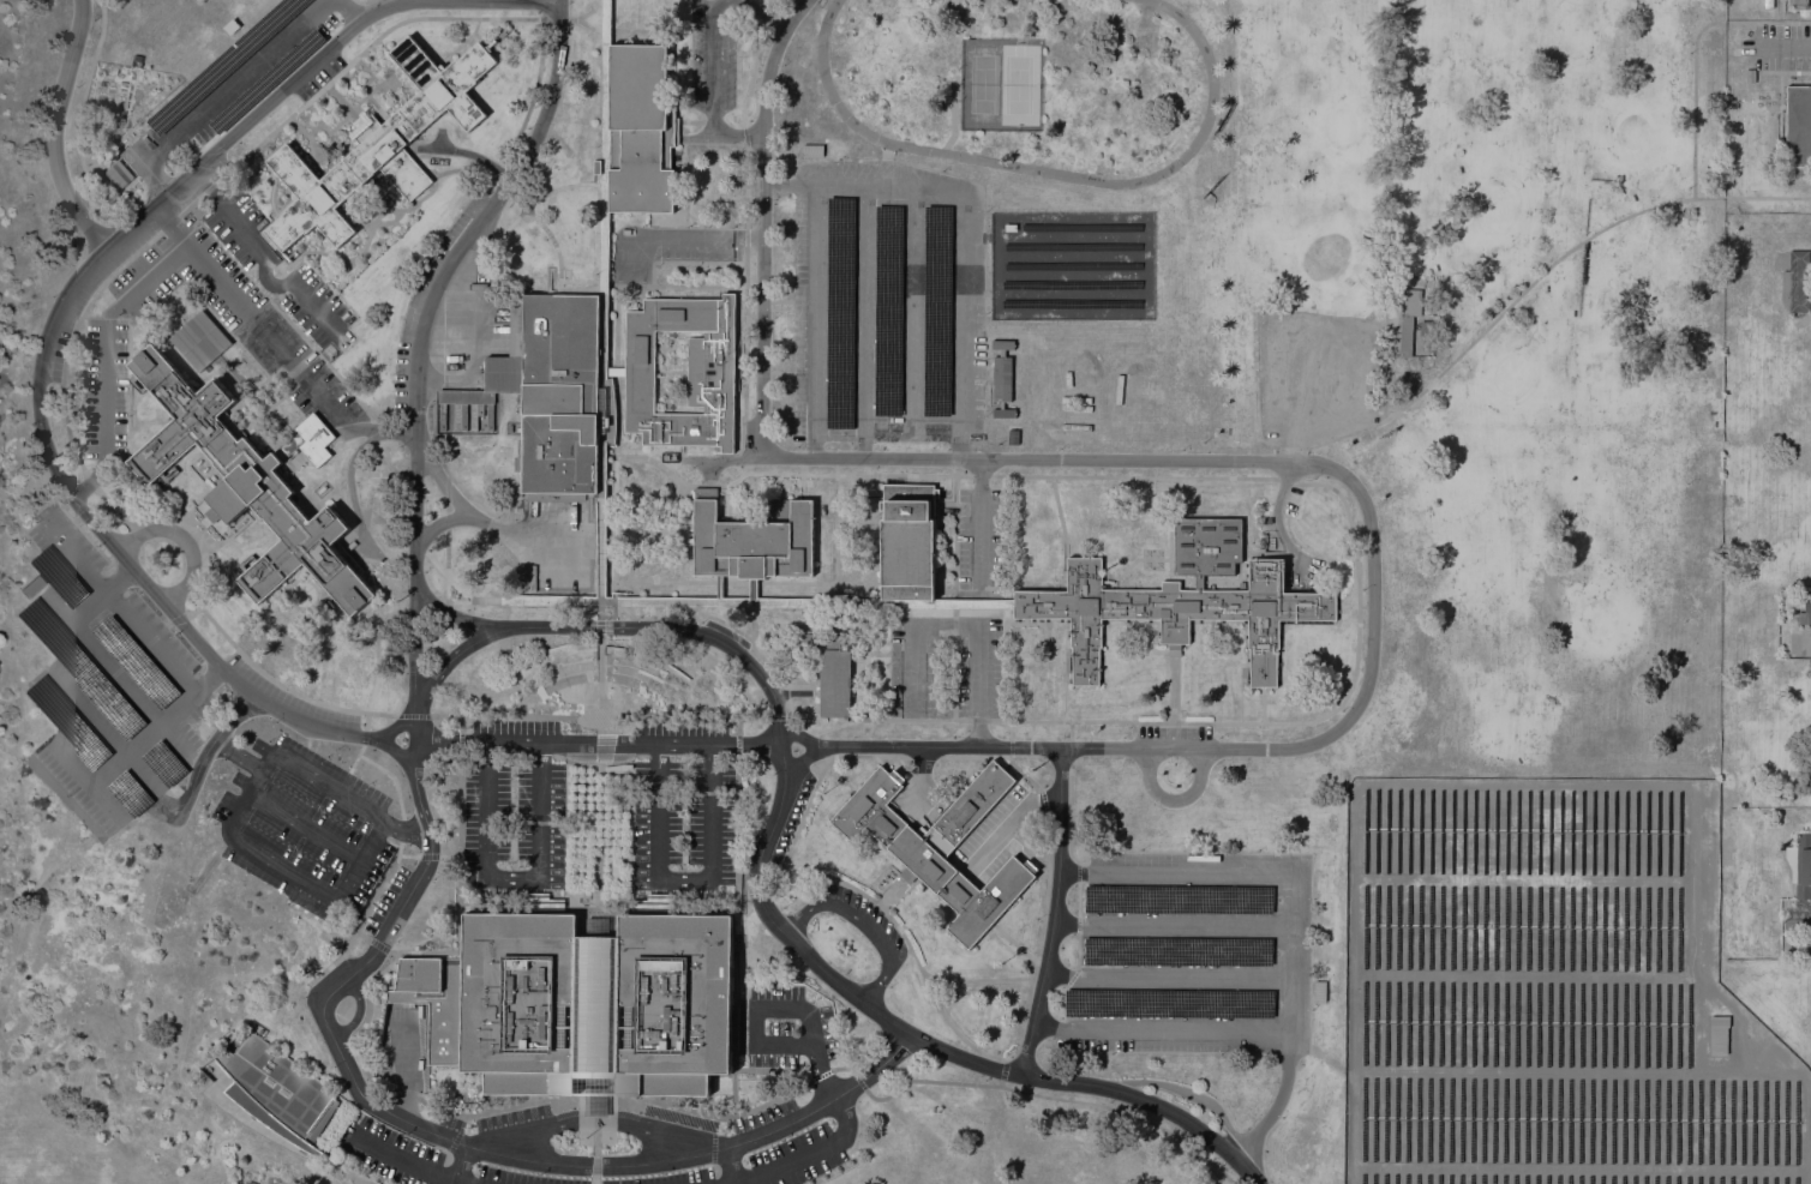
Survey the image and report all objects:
road: (503, 0)
road: (559, 0)
road: (726, 1)
road: (394, 2)
building: (1799, 4)
road: (347, 12)
road: (760, 13)
road: (589, 29)
parking lot: (1777, 46)
road: (1782, 47)
road: (1693, 56)
road: (1782, 71)
building: (1749, 74)
track: (1025, 82)
park: (983, 84)
road: (713, 85)
park: (1018, 85)
road: (223, 94)
road: (532, 94)
road: (78, 112)
building: (1798, 127)
building: (641, 128)
park: (1342, 128)
road: (54, 130)
park: (1633, 134)
road: (439, 139)
building: (379, 144)
road: (604, 148)
building: (811, 150)
road: (467, 152)
building: (596, 167)
building: (119, 175)
road: (882, 182)
park: (1497, 208)
road: (528, 212)
road: (761, 222)
road: (504, 230)
road: (114, 241)
park: (1326, 257)
road: (264, 258)
road: (550, 268)
road: (1533, 281)
building: (1795, 282)
road: (616, 297)
parking lot: (890, 305)
road: (85, 307)
building: (888, 311)
building: (937, 311)
building: (840, 313)
road: (52, 319)
building: (1410, 319)
road: (1333, 333)
road: (272, 339)
building: (200, 341)
road: (419, 343)
park: (1476, 351)
road: (1395, 355)
building: (712, 371)
park: (1511, 374)
parking lot: (1318, 375)
building: (1002, 378)
building: (550, 391)
road: (886, 431)
building: (601, 447)
road: (600, 449)
road: (384, 457)
road: (722, 458)
road: (785, 473)
road: (979, 475)
road: (1134, 476)
road: (1285, 480)
building: (251, 482)
road: (460, 487)
road: (446, 499)
road: (468, 512)
road: (1060, 521)
road: (200, 522)
road: (439, 523)
road: (404, 525)
road: (859, 525)
road: (835, 528)
road: (680, 533)
road: (613, 534)
building: (751, 540)
building: (907, 541)
road: (954, 549)
road: (1170, 554)
road: (1163, 558)
road: (943, 567)
road: (1127, 567)
road: (660, 569)
road: (1373, 573)
building: (58, 577)
road: (1211, 577)
road: (760, 582)
building: (31, 587)
road: (719, 588)
road: (752, 589)
road: (613, 597)
road: (730, 601)
building: (1182, 601)
road: (1348, 606)
road: (452, 613)
building: (1805, 614)
road: (445, 618)
park: (1600, 619)
road: (965, 620)
road: (600, 626)
road: (664, 626)
road: (287, 631)
building: (804, 647)
road: (450, 659)
road: (953, 661)
building: (136, 662)
road: (762, 663)
parking lot: (945, 666)
building: (80, 669)
building: (835, 678)
road: (1065, 678)
parking lot: (107, 681)
road: (374, 683)
road: (600, 684)
road: (1174, 689)
road: (1263, 705)
road: (412, 715)
road: (598, 715)
road: (778, 716)
road: (876, 719)
road: (977, 720)
building: (67, 722)
road: (460, 722)
road: (1296, 722)
road: (737, 725)
road: (388, 729)
road: (792, 734)
road: (1011, 738)
road: (461, 740)
road: (414, 743)
road: (738, 744)
road: (596, 745)
road: (601, 749)
road: (204, 756)
road: (923, 756)
road: (1000, 756)
road: (234, 757)
road: (355, 758)
building: (163, 763)
road: (392, 777)
road: (816, 780)
building: (130, 793)
road: (1069, 793)
road: (1174, 798)
road: (1043, 803)
road: (238, 804)
parking lot: (598, 809)
road: (304, 825)
building: (940, 846)
road: (599, 849)
road: (458, 852)
road: (736, 853)
road: (408, 857)
building: (1800, 865)
building: (617, 871)
road: (1078, 871)
road: (755, 875)
road: (512, 881)
road: (683, 881)
building: (1179, 898)
road: (528, 907)
road: (667, 908)
road: (1293, 908)
road: (1054, 913)
road: (362, 919)
road: (863, 924)
road: (1173, 924)
road: (1077, 933)
road: (320, 937)
road: (1038, 938)
road: (905, 939)
road: (1014, 942)
road: (383, 946)
building: (1179, 951)
parking lot: (1192, 954)
road: (977, 978)
road: (1167, 979)
building: (1319, 990)
road: (744, 999)
building: (582, 1002)
building: (1170, 1003)
road: (779, 1006)
road: (367, 1010)
road: (359, 1012)
road: (733, 1033)
road: (1159, 1033)
building: (1719, 1033)
road: (935, 1045)
road: (397, 1062)
road: (842, 1068)
road: (760, 1069)
road: (1003, 1070)
road: (821, 1075)
road: (858, 1081)
road: (1001, 1083)
building: (278, 1092)
road: (1186, 1092)
road: (1055, 1098)
road: (617, 1099)
road: (601, 1122)
road: (596, 1140)
road: (458, 1142)
parking lot: (382, 1147)
road: (804, 1155)
road: (409, 1159)
road: (731, 1164)
road: (460, 1170)

